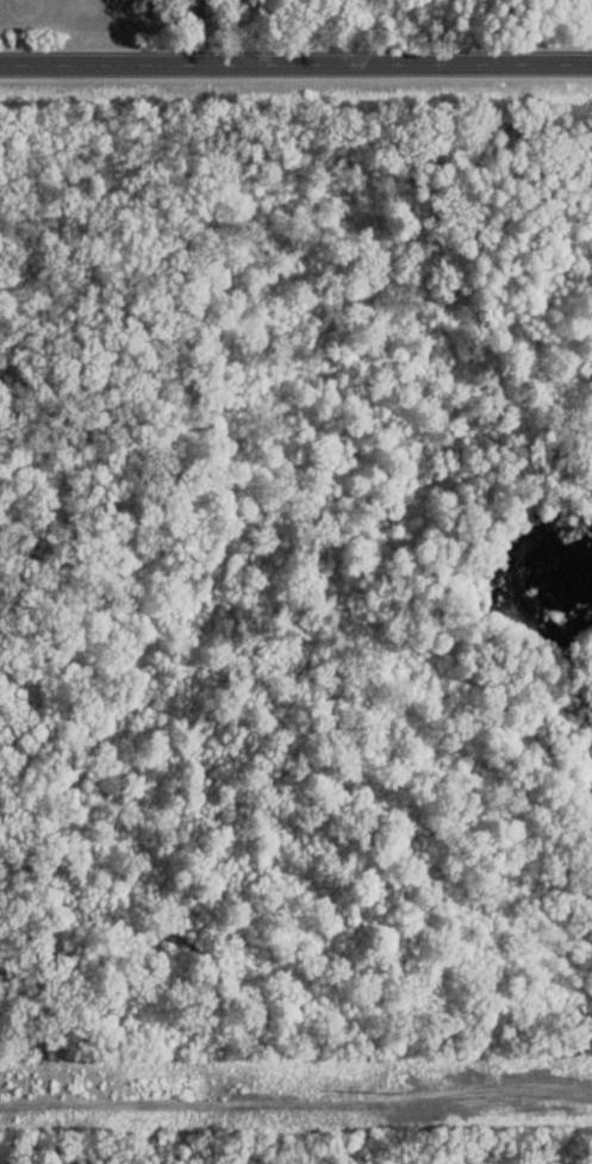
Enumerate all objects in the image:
road: (295, 70)

